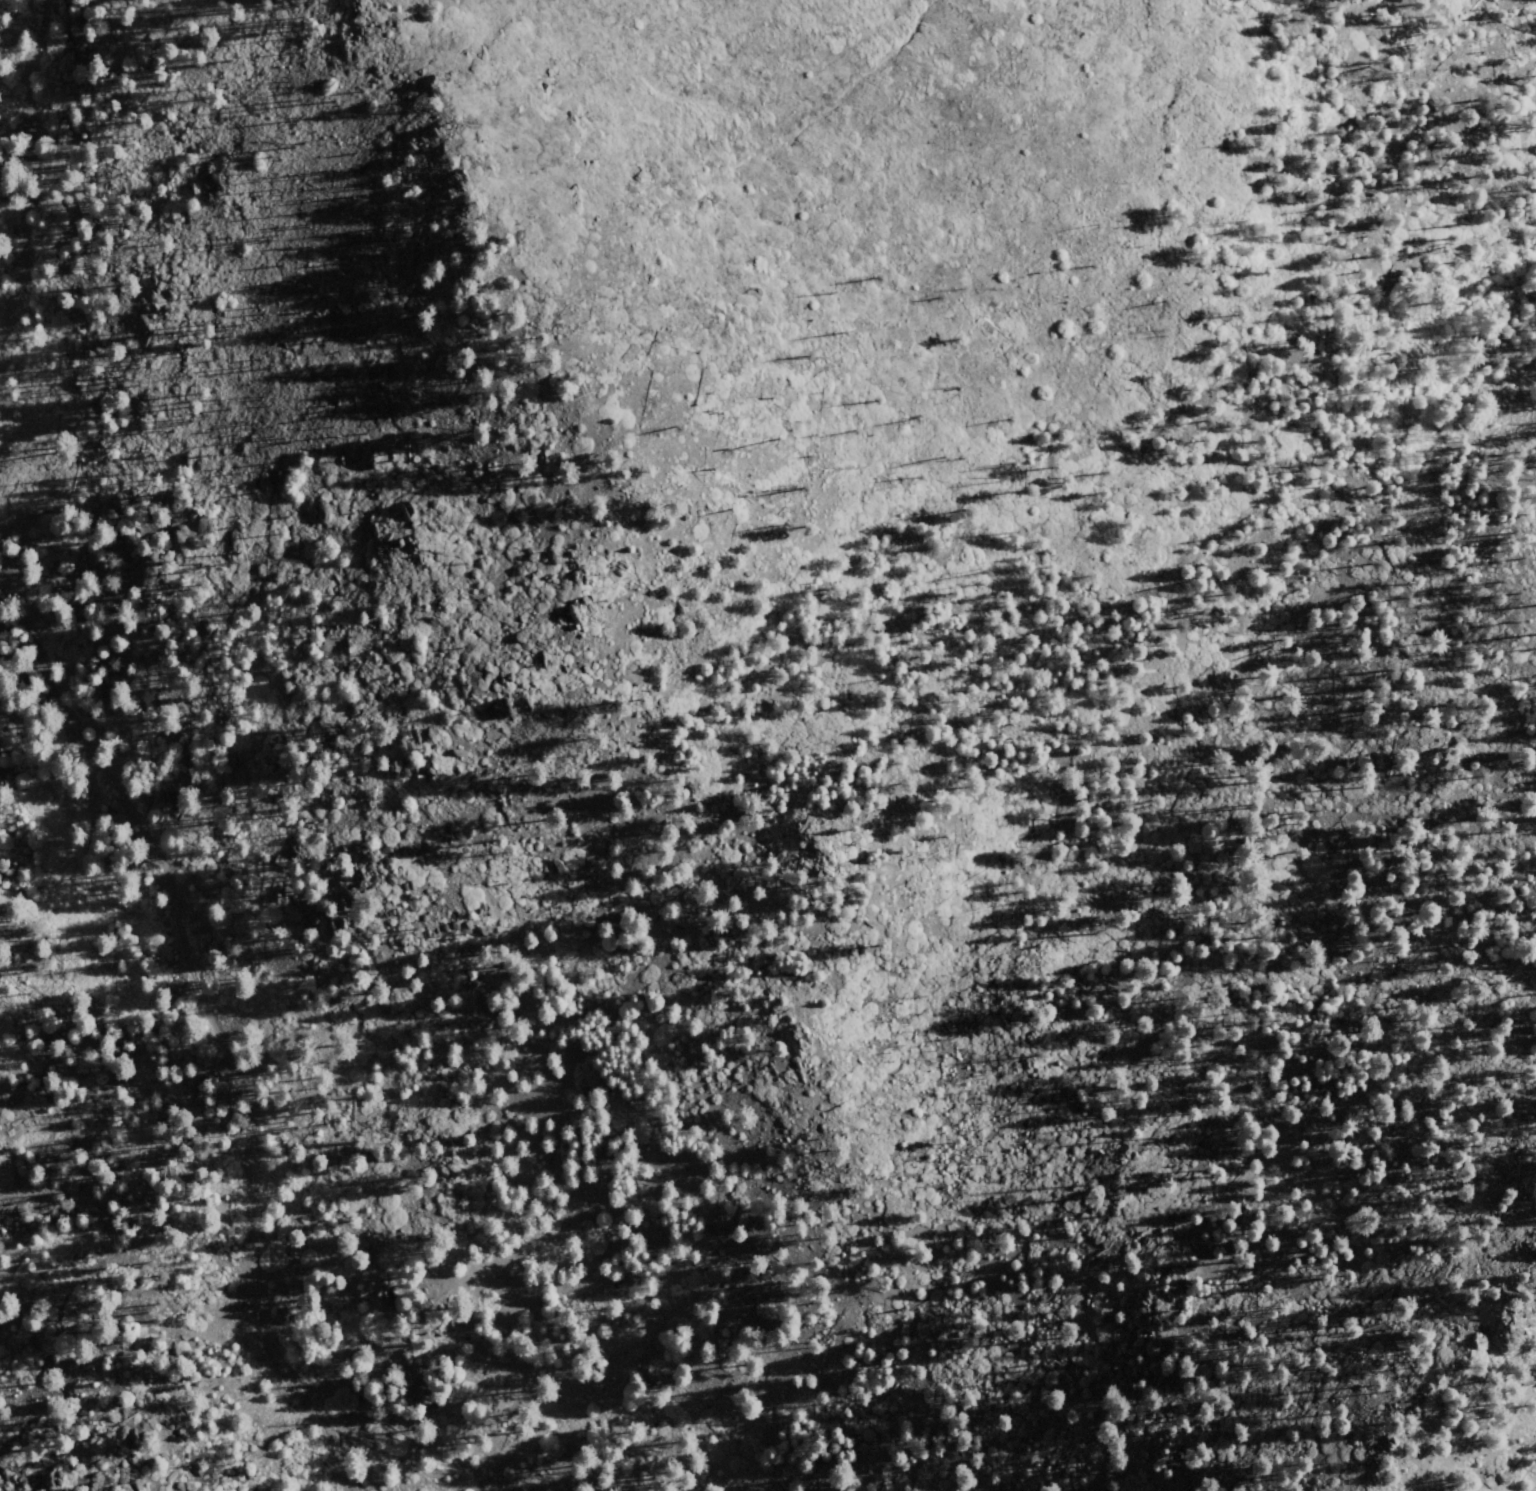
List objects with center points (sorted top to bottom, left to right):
road: (212, 1001)

